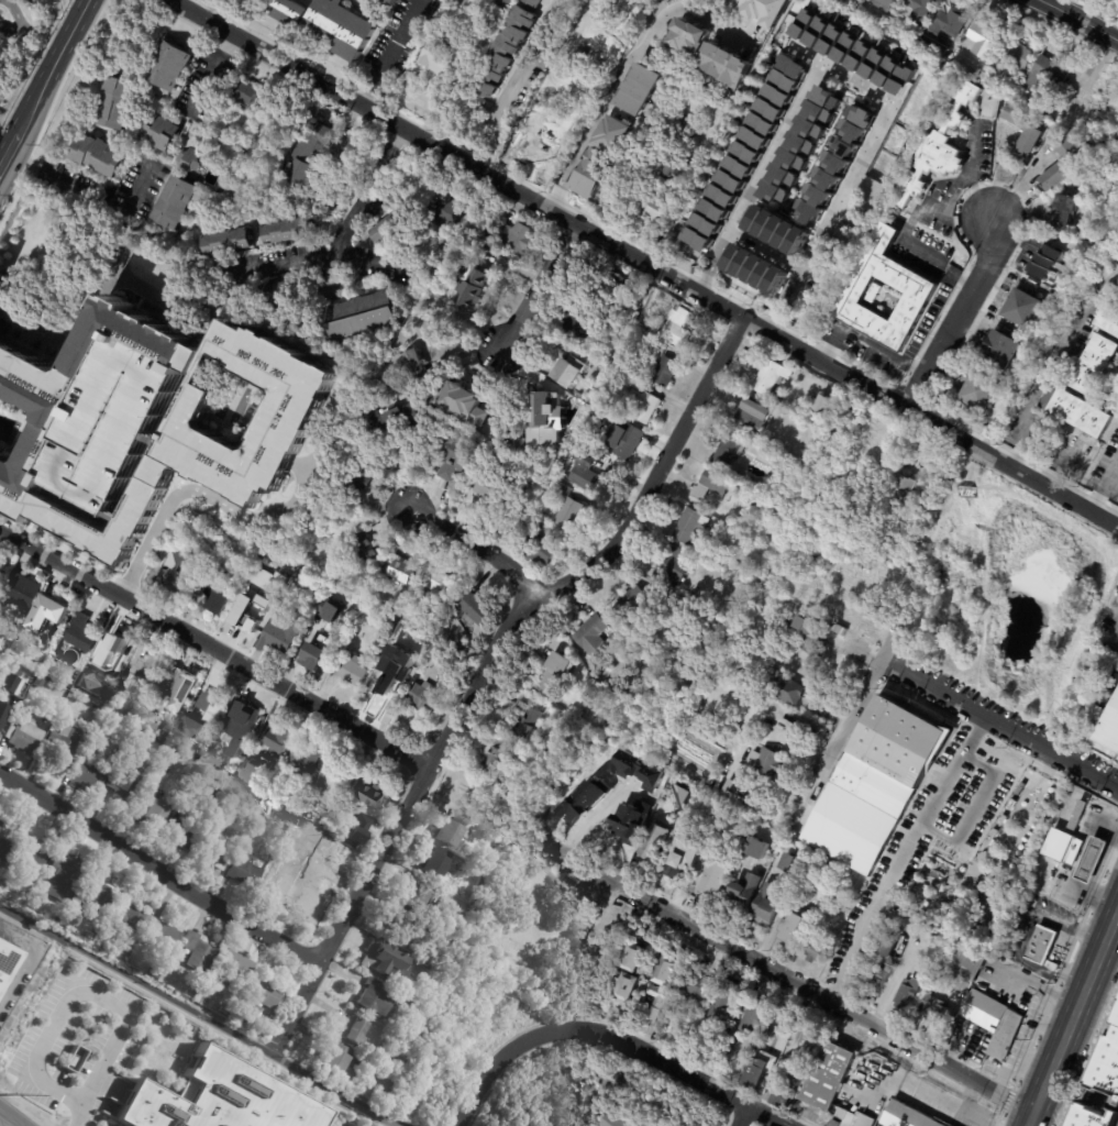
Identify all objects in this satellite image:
building: (505, 2)
building: (387, 3)
building: (458, 4)
building: (887, 5)
building: (760, 10)
building: (919, 10)
building: (286, 11)
road: (1081, 20)
building: (950, 23)
road: (16, 26)
building: (340, 27)
building: (817, 32)
building: (688, 36)
building: (984, 40)
building: (801, 47)
building: (506, 48)
building: (439, 52)
road: (389, 53)
building: (1019, 56)
building: (874, 64)
building: (170, 65)
building: (724, 65)
building: (796, 66)
building: (1004, 67)
road: (622, 68)
road: (206, 73)
building: (1047, 76)
road: (43, 79)
road: (511, 82)
road: (855, 84)
building: (639, 89)
building: (246, 92)
building: (571, 93)
building: (777, 93)
building: (1025, 98)
building: (115, 102)
building: (824, 110)
road: (518, 123)
building: (763, 124)
building: (1025, 128)
building: (276, 129)
building: (815, 129)
building: (856, 129)
building: (162, 132)
building: (612, 134)
building: (1116, 136)
building: (943, 145)
road: (776, 148)
building: (242, 150)
building: (346, 150)
building: (99, 155)
building: (303, 156)
building: (188, 161)
building: (833, 163)
building: (1064, 164)
building: (591, 172)
building: (678, 173)
road: (971, 174)
building: (787, 177)
building: (824, 179)
road: (846, 186)
road: (358, 189)
building: (729, 189)
building: (868, 190)
road: (88, 197)
building: (174, 202)
building: (652, 206)
building: (812, 210)
building: (1064, 211)
building: (457, 212)
building: (778, 229)
road: (907, 229)
building: (286, 231)
building: (389, 231)
building: (511, 238)
building: (224, 242)
road: (724, 246)
road: (767, 251)
road: (310, 256)
road: (643, 261)
building: (1045, 261)
building: (756, 267)
road: (708, 276)
building: (817, 277)
building: (0, 280)
road: (795, 285)
road: (538, 286)
building: (616, 287)
building: (475, 289)
building: (922, 289)
building: (333, 292)
building: (284, 294)
building: (876, 294)
road: (87, 303)
building: (1025, 307)
road: (779, 314)
road: (956, 316)
building: (368, 317)
building: (1109, 317)
building: (575, 318)
building: (652, 328)
building: (678, 329)
road: (831, 343)
building: (658, 349)
building: (1004, 349)
road: (892, 358)
building: (1094, 364)
building: (421, 366)
road: (1047, 366)
building: (569, 368)
building: (665, 373)
building: (772, 375)
building: (638, 385)
building: (65, 393)
building: (983, 393)
building: (589, 398)
building: (776, 399)
building: (822, 404)
building: (832, 404)
building: (644, 406)
building: (1077, 410)
building: (294, 411)
building: (473, 411)
building: (783, 413)
building: (755, 415)
building: (554, 416)
building: (402, 420)
building: (112, 422)
parking garage: (112, 422)
building: (626, 440)
building: (789, 446)
building: (728, 451)
building: (462, 456)
building: (586, 473)
building: (155, 478)
building: (364, 479)
building: (712, 483)
building: (905, 486)
road: (1105, 488)
building: (492, 493)
building: (344, 503)
road: (218, 504)
building: (568, 508)
building: (688, 522)
road: (474, 542)
building: (366, 548)
building: (543, 548)
building: (672, 562)
building: (403, 572)
building: (2, 576)
building: (179, 577)
building: (266, 581)
building: (441, 585)
building: (24, 590)
building: (215, 596)
building: (631, 601)
building: (352, 609)
building: (474, 610)
building: (329, 611)
building: (54, 614)
building: (250, 617)
building: (806, 630)
building: (79, 634)
building: (594, 636)
building: (2, 637)
building: (279, 637)
building: (31, 639)
building: (120, 648)
road: (214, 650)
building: (318, 653)
building: (102, 659)
road: (1081, 659)
road: (489, 664)
building: (148, 665)
building: (351, 671)
building: (556, 672)
building: (5, 677)
building: (130, 681)
building: (177, 683)
building: (2, 685)
building: (70, 685)
building: (383, 686)
building: (787, 686)
building: (35, 688)
building: (423, 698)
road: (966, 702)
building: (209, 706)
building: (151, 709)
road: (857, 711)
building: (4, 717)
building: (243, 718)
building: (525, 722)
building: (1107, 726)
building: (151, 728)
building: (700, 730)
building: (25, 736)
building: (273, 738)
building: (165, 739)
building: (698, 740)
building: (63, 747)
road: (1087, 750)
building: (92, 753)
building: (496, 754)
building: (306, 759)
building: (767, 762)
road: (1086, 766)
building: (248, 772)
building: (691, 776)
building: (712, 776)
building: (696, 779)
building: (88, 780)
building: (335, 780)
building: (876, 783)
road: (1086, 788)
building: (121, 791)
building: (262, 793)
building: (732, 794)
building: (302, 796)
building: (685, 796)
building: (368, 797)
building: (631, 799)
road: (977, 806)
building: (706, 807)
building: (646, 808)
building: (153, 813)
road: (929, 813)
building: (1080, 814)
building: (1, 824)
building: (601, 825)
building: (357, 828)
building: (453, 830)
building: (181, 835)
building: (655, 841)
building: (626, 843)
building: (306, 846)
building: (1062, 847)
building: (3, 848)
building: (759, 848)
building: (32, 850)
building: (215, 854)
building: (277, 855)
building: (1086, 857)
building: (441, 861)
building: (682, 862)
building: (790, 864)
road: (163, 871)
building: (245, 872)
building: (64, 876)
building: (283, 876)
building: (716, 876)
building: (745, 890)
building: (98, 896)
building: (418, 896)
building: (118, 901)
building: (309, 904)
building: (994, 905)
building: (767, 906)
building: (132, 917)
building: (794, 927)
road: (1026, 931)
building: (89, 935)
building: (407, 936)
building: (162, 937)
building: (889, 943)
building: (1043, 943)
building: (925, 946)
building: (818, 948)
building: (197, 951)
building: (591, 954)
road: (849, 954)
road: (906, 954)
building: (638, 957)
building: (387, 962)
building: (968, 962)
building: (860, 963)
building: (7, 964)
building: (234, 968)
building: (666, 970)
building: (154, 972)
building: (879, 973)
road: (789, 979)
road: (1040, 983)
building: (630, 985)
building: (697, 986)
building: (910, 986)
road: (85, 995)
road: (1081, 997)
building: (378, 1000)
building: (257, 1001)
building: (723, 1002)
building: (221, 1006)
building: (655, 1007)
road: (203, 1012)
building: (940, 1013)
building: (760, 1019)
building: (995, 1022)
building: (701, 1025)
building: (357, 1031)
railway: (1078, 1035)
road: (958, 1044)
road: (641, 1049)
road: (786, 1051)
building: (383, 1055)
building: (74, 1059)
building: (335, 1061)
building: (756, 1073)
building: (828, 1077)
road: (919, 1088)
building: (1103, 1092)
building: (36, 1094)
road: (478, 1097)
building: (893, 1097)
building: (218, 1099)
building: (786, 1103)
road: (1036, 1105)
road: (77, 1111)
road: (740, 1115)
road: (9, 1118)
building: (618, 1121)

